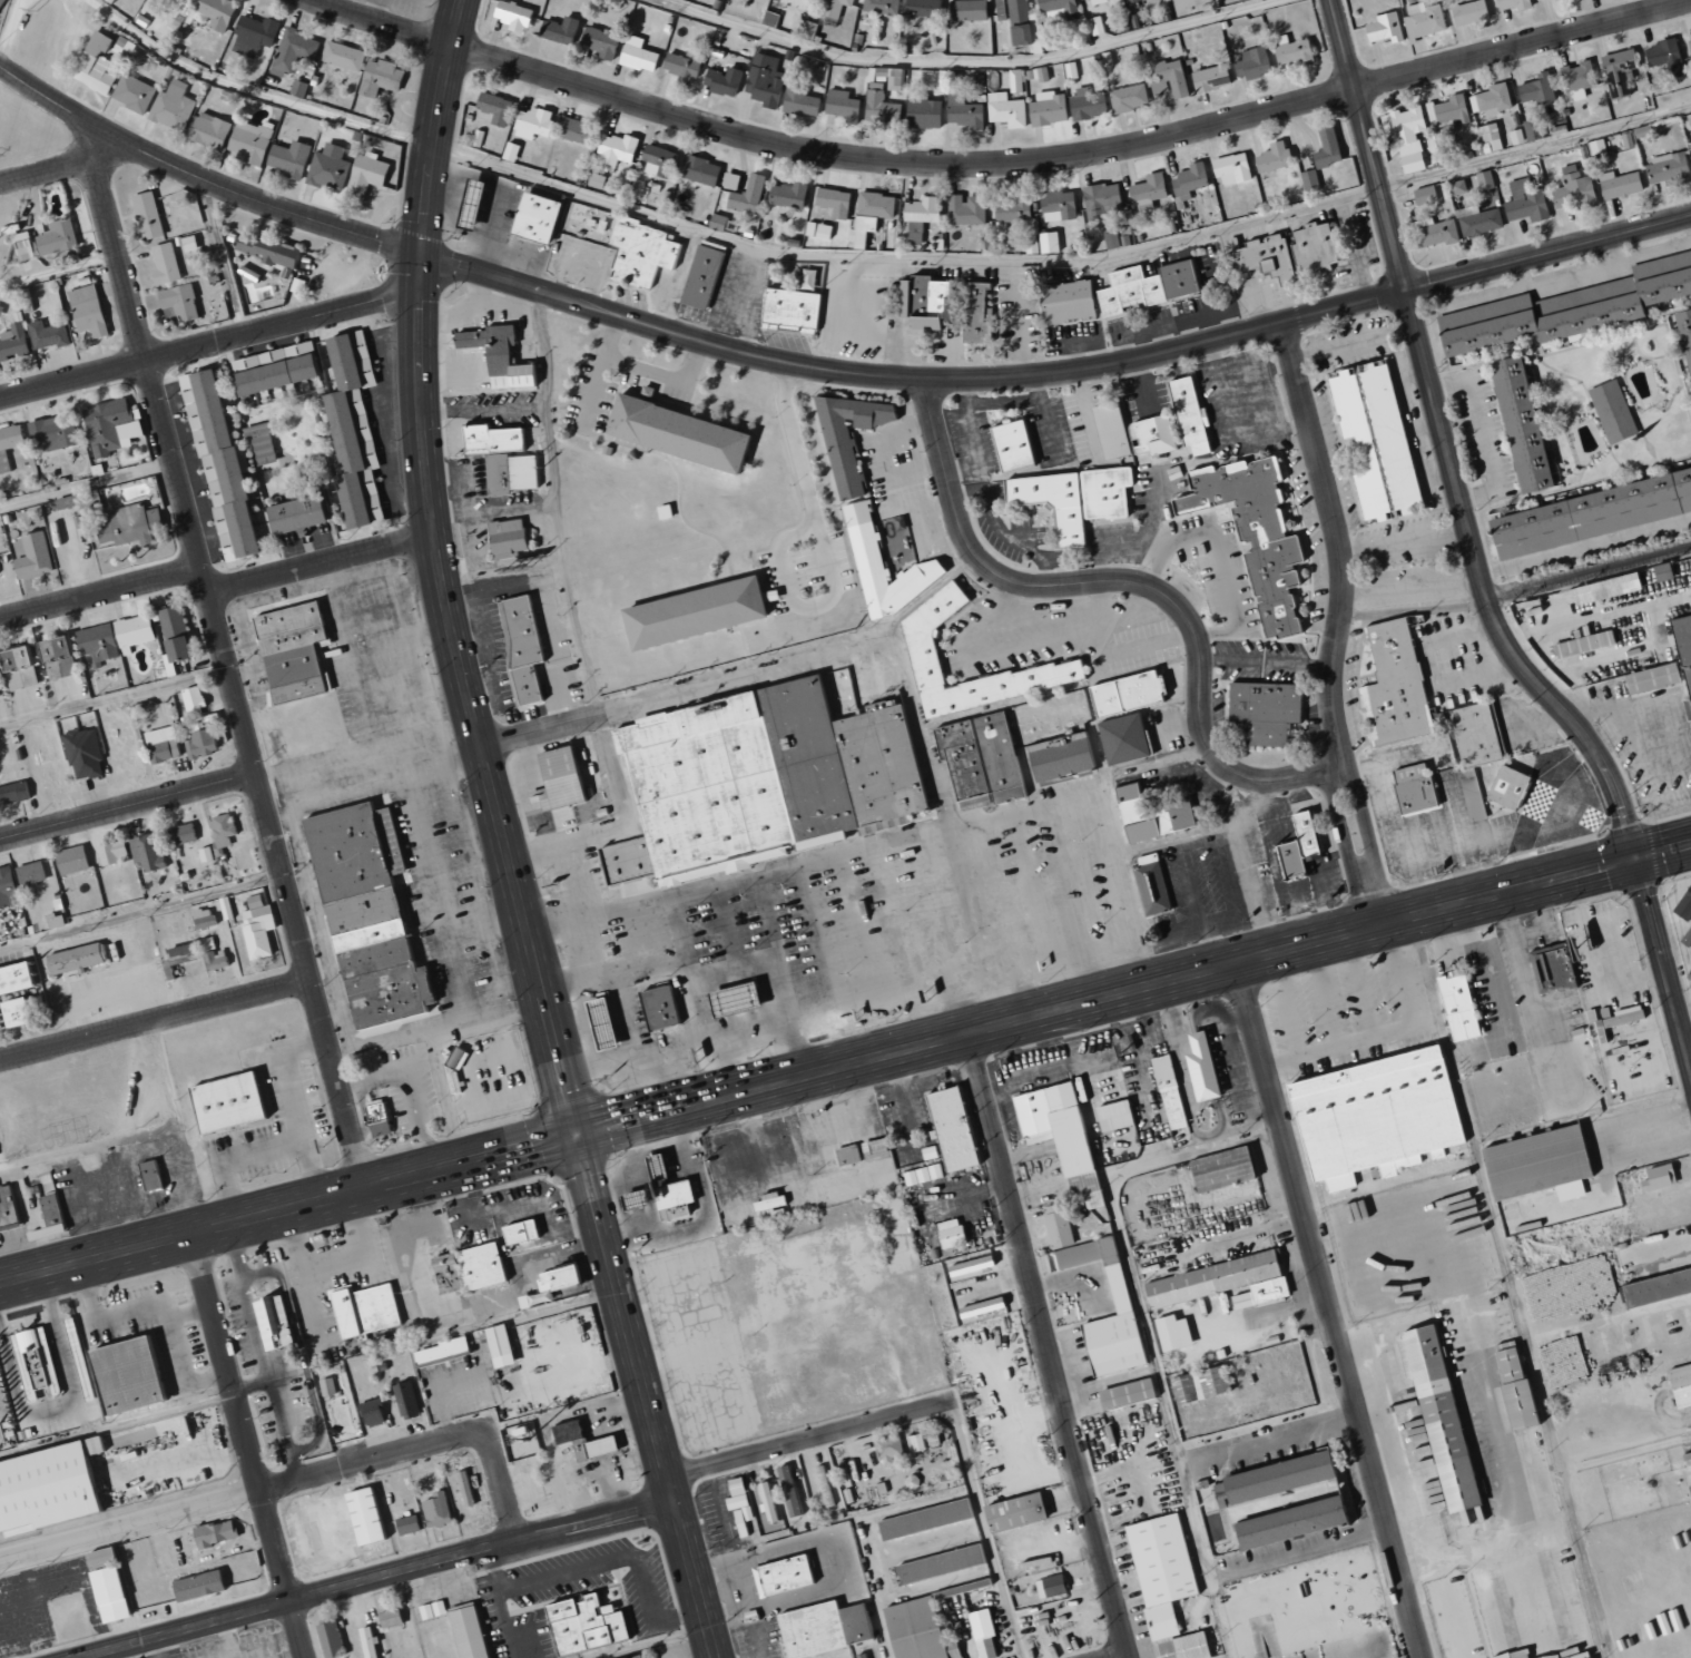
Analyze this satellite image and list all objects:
building: (1080, 0)
building: (1097, 1)
building: (1129, 1)
building: (179, 3)
building: (793, 3)
building: (2, 4)
building: (1511, 4)
building: (833, 8)
building: (879, 8)
building: (922, 8)
building: (1058, 9)
power tower: (36, 10)
road: (375, 10)
building: (966, 10)
building: (1000, 10)
building: (1468, 12)
building: (218, 13)
building: (510, 16)
building: (768, 19)
building: (1423, 20)
building: (1016, 22)
road: (382, 23)
building: (1382, 28)
building: (558, 30)
building: (1032, 31)
building: (257, 36)
building: (597, 42)
building: (1689, 47)
building: (296, 51)
building: (1291, 52)
building: (636, 55)
building: (345, 56)
building: (1663, 56)
building: (104, 60)
road: (964, 62)
building: (1250, 62)
building: (680, 68)
building: (1620, 72)
building: (1576, 76)
building: (384, 78)
building: (1209, 78)
building: (894, 79)
building: (1168, 79)
road: (443, 80)
building: (721, 80)
building: (763, 80)
building: (302, 88)
building: (1535, 89)
building: (136, 94)
building: (1128, 98)
building: (1490, 99)
building: (799, 104)
road: (68, 106)
building: (842, 106)
building: (1087, 106)
building: (175, 107)
building: (879, 107)
building: (493, 108)
building: (1046, 108)
building: (1446, 109)
building: (1005, 110)
building: (963, 111)
building: (922, 112)
building: (531, 124)
building: (576, 129)
building: (1531, 129)
building: (213, 130)
building: (1514, 136)
building: (1407, 137)
building: (1488, 137)
building: (1622, 140)
building: (253, 141)
building: (1325, 146)
building: (1595, 146)
building: (615, 149)
building: (509, 151)
road: (1072, 156)
building: (1271, 157)
building: (292, 159)
building: (659, 161)
building: (332, 168)
building: (1229, 168)
building: (1667, 169)
building: (698, 170)
road: (45, 171)
building: (370, 175)
building: (1483, 179)
building: (729, 180)
building: (1309, 180)
building: (1188, 182)
building: (1618, 184)
building: (1456, 187)
building: (1573, 189)
building: (1147, 192)
building: (747, 194)
building: (787, 195)
building: (1423, 195)
building: (1100, 199)
building: (833, 202)
building: (1524, 202)
building: (472, 205)
building: (875, 205)
building: (1056, 206)
road: (427, 209)
building: (921, 209)
building: (965, 209)
building: (1010, 210)
road: (277, 213)
building: (151, 216)
building: (537, 217)
building: (1476, 220)
building: (817, 229)
building: (862, 229)
building: (1434, 232)
building: (913, 233)
building: (60, 237)
building: (1111, 238)
building: (1048, 242)
building: (193, 244)
building: (1313, 248)
building: (272, 251)
building: (640, 252)
building: (1262, 256)
road: (1063, 263)
building: (169, 264)
road: (58, 269)
road: (486, 274)
building: (701, 274)
building: (1662, 277)
building: (1177, 278)
building: (1128, 291)
building: (1063, 301)
building: (183, 303)
road: (367, 303)
building: (921, 304)
building: (1586, 308)
building: (787, 310)
building: (91, 311)
building: (974, 312)
road: (421, 314)
building: (1486, 324)
building: (1685, 333)
building: (51, 335)
building: (17, 343)
building: (499, 355)
road: (156, 357)
road: (1122, 362)
building: (276, 363)
road: (657, 370)
building: (1612, 411)
building: (1190, 415)
building: (1522, 424)
building: (115, 426)
building: (355, 429)
building: (1111, 430)
building: (58, 432)
building: (677, 433)
building: (1153, 435)
building: (849, 436)
building: (14, 438)
building: (1375, 439)
building: (262, 442)
building: (1013, 445)
road: (1448, 447)
building: (0, 458)
building: (503, 458)
building: (220, 465)
building: (0, 469)
road: (86, 487)
building: (1107, 491)
building: (73, 500)
building: (1052, 503)
building: (299, 514)
building: (1592, 514)
building: (132, 526)
building: (1258, 537)
building: (508, 538)
road: (1406, 541)
road: (826, 546)
building: (37, 556)
building: (884, 565)
road: (322, 566)
road: (1590, 571)
building: (1660, 571)
road: (1132, 581)
building: (1603, 588)
road: (100, 592)
road: (1415, 610)
building: (696, 611)
building: (175, 620)
road: (1339, 622)
building: (138, 631)
building: (921, 641)
building: (101, 644)
building: (1582, 645)
building: (63, 649)
building: (186, 649)
building: (293, 649)
building: (523, 649)
road: (223, 650)
building: (1668, 665)
building: (26, 668)
road: (460, 668)
building: (0, 671)
building: (1396, 687)
building: (0, 689)
building: (1128, 693)
road: (114, 698)
building: (197, 700)
building: (1265, 709)
road: (542, 732)
building: (1476, 735)
building: (88, 737)
building: (1140, 739)
building: (165, 744)
building: (204, 744)
building: (1060, 753)
building: (981, 759)
building: (556, 778)
building: (760, 779)
building: (1506, 787)
building: (1410, 789)
building: (16, 793)
road: (947, 805)
road: (127, 806)
building: (1151, 815)
building: (226, 830)
building: (187, 833)
building: (1299, 846)
road: (1344, 850)
building: (150, 852)
road: (1663, 852)
building: (118, 853)
building: (208, 854)
traffic signals: (1636, 859)
building: (76, 860)
road: (1587, 871)
building: (33, 873)
building: (1151, 884)
building: (9, 887)
building: (1684, 904)
road: (141, 911)
building: (368, 912)
building: (207, 918)
building: (260, 928)
building: (184, 952)
building: (216, 955)
building: (1687, 956)
building: (78, 958)
road: (1663, 960)
building: (1551, 969)
road: (790, 974)
building: (1688, 975)
building: (13, 978)
road: (1113, 994)
building: (735, 1001)
gas station: (735, 1001)
building: (1456, 1007)
building: (660, 1008)
building: (24, 1012)
building: (13, 1013)
building: (1608, 1021)
road: (155, 1023)
building: (603, 1023)
gas station: (603, 1023)
road: (551, 1047)
building: (1199, 1067)
road: (159, 1076)
building: (1168, 1092)
building: (229, 1103)
building: (377, 1110)
building: (1112, 1115)
building: (1373, 1116)
road: (630, 1120)
building: (950, 1128)
road: (137, 1135)
traffic signals: (572, 1137)
building: (1059, 1137)
road: (524, 1149)
building: (845, 1155)
building: (1535, 1164)
building: (1219, 1168)
building: (1655, 1177)
road: (586, 1188)
building: (670, 1199)
building: (56, 1209)
building: (3, 1220)
road: (237, 1222)
building: (1055, 1226)
building: (527, 1232)
building: (948, 1233)
building: (969, 1266)
building: (472, 1268)
building: (563, 1278)
building: (1220, 1282)
building: (1566, 1287)
building: (1656, 1287)
building: (1118, 1292)
building: (979, 1307)
building: (370, 1309)
road: (1329, 1311)
building: (274, 1321)
building: (1171, 1333)
building: (504, 1345)
road: (1049, 1345)
building: (445, 1351)
building: (36, 1362)
building: (1562, 1362)
building: (132, 1375)
building: (1200, 1383)
building: (1680, 1384)
building: (331, 1386)
building: (1512, 1386)
building: (1124, 1394)
building: (410, 1400)
building: (375, 1412)
building: (1436, 1413)
road: (807, 1438)
building: (519, 1444)
road: (248, 1445)
building: (599, 1448)
road: (657, 1448)
building: (887, 1449)
building: (1687, 1459)
road: (291, 1483)
building: (823, 1485)
building: (464, 1487)
building: (51, 1489)
building: (788, 1490)
building: (1689, 1490)
building: (1277, 1492)
building: (735, 1494)
building: (767, 1501)
building: (441, 1510)
building: (1012, 1512)
building: (372, 1515)
building: (922, 1519)
building: (412, 1524)
building: (219, 1532)
building: (348, 1532)
building: (108, 1558)
building: (940, 1563)
building: (780, 1574)
road: (374, 1577)
building: (1162, 1583)
building: (203, 1586)
building: (1049, 1586)
building: (117, 1593)
building: (435, 1609)
building: (394, 1618)
building: (592, 1625)
building: (820, 1628)
building: (913, 1629)
building: (473, 1631)
building: (982, 1634)
building: (334, 1640)
building: (373, 1640)
road: (1119, 1655)
building: (642, 1657)
building: (864, 1657)

